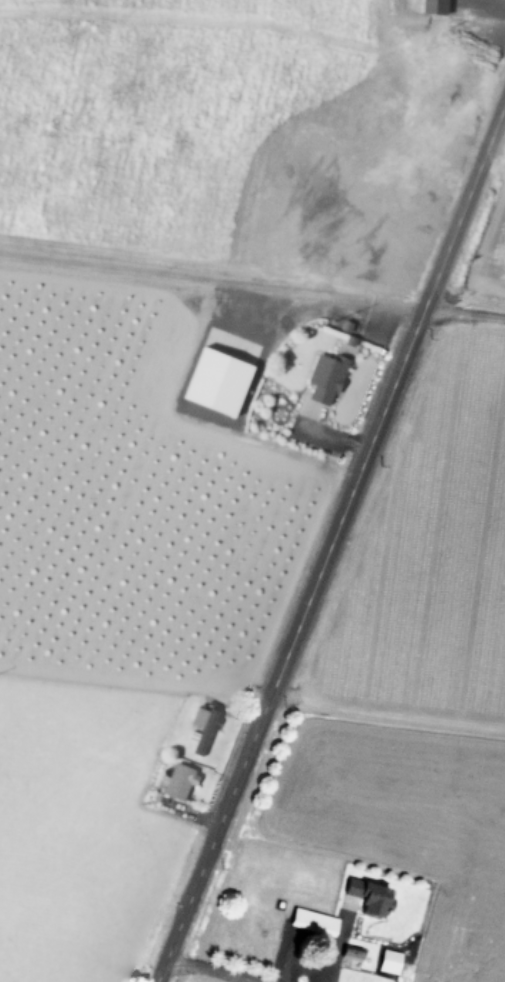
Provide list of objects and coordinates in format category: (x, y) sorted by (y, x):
road: (457, 40)
road: (339, 302)
road: (464, 311)
building: (325, 379)
crop: (181, 397)
road: (331, 541)
crop: (396, 710)
building: (203, 727)
building: (179, 781)
building: (368, 895)
building: (314, 919)
building: (352, 951)
building: (390, 959)
road: (304, 965)
road: (211, 970)

